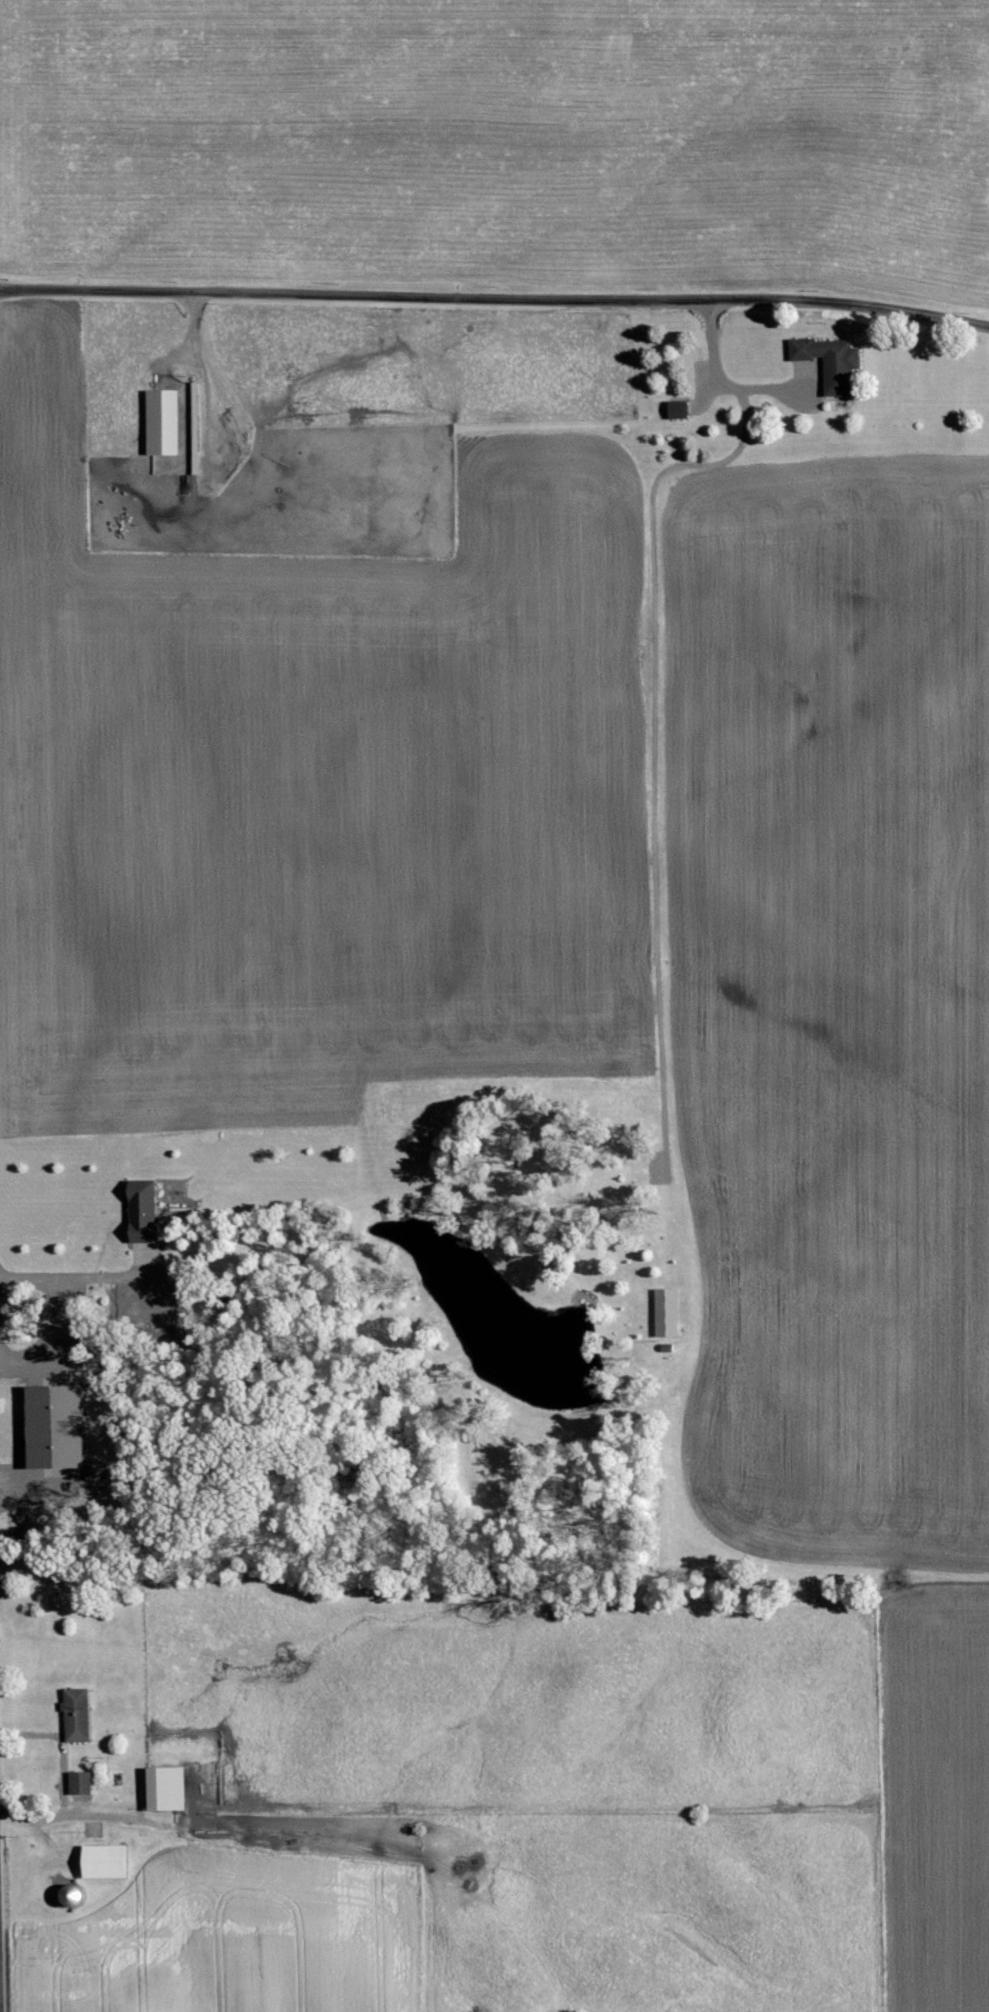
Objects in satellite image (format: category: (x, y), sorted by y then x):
road: (495, 294)
building: (829, 362)
road: (202, 376)
building: (678, 410)
building: (163, 422)
road: (652, 691)
building: (143, 1212)
road: (108, 1279)
building: (666, 1313)
road: (61, 1317)
building: (62, 1440)
building: (77, 1715)
road: (63, 1778)
building: (166, 1788)
road: (107, 1817)
building: (105, 1861)

